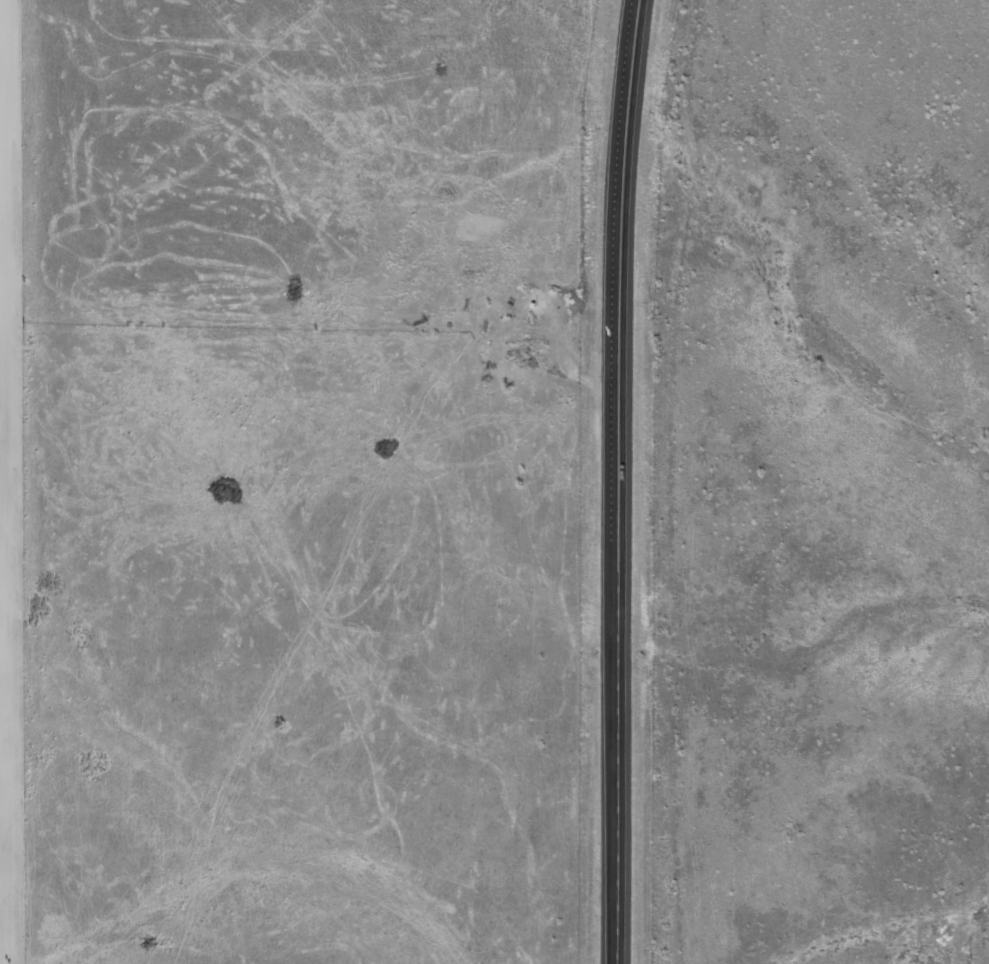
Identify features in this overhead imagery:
road: (691, 118)
road: (619, 480)

